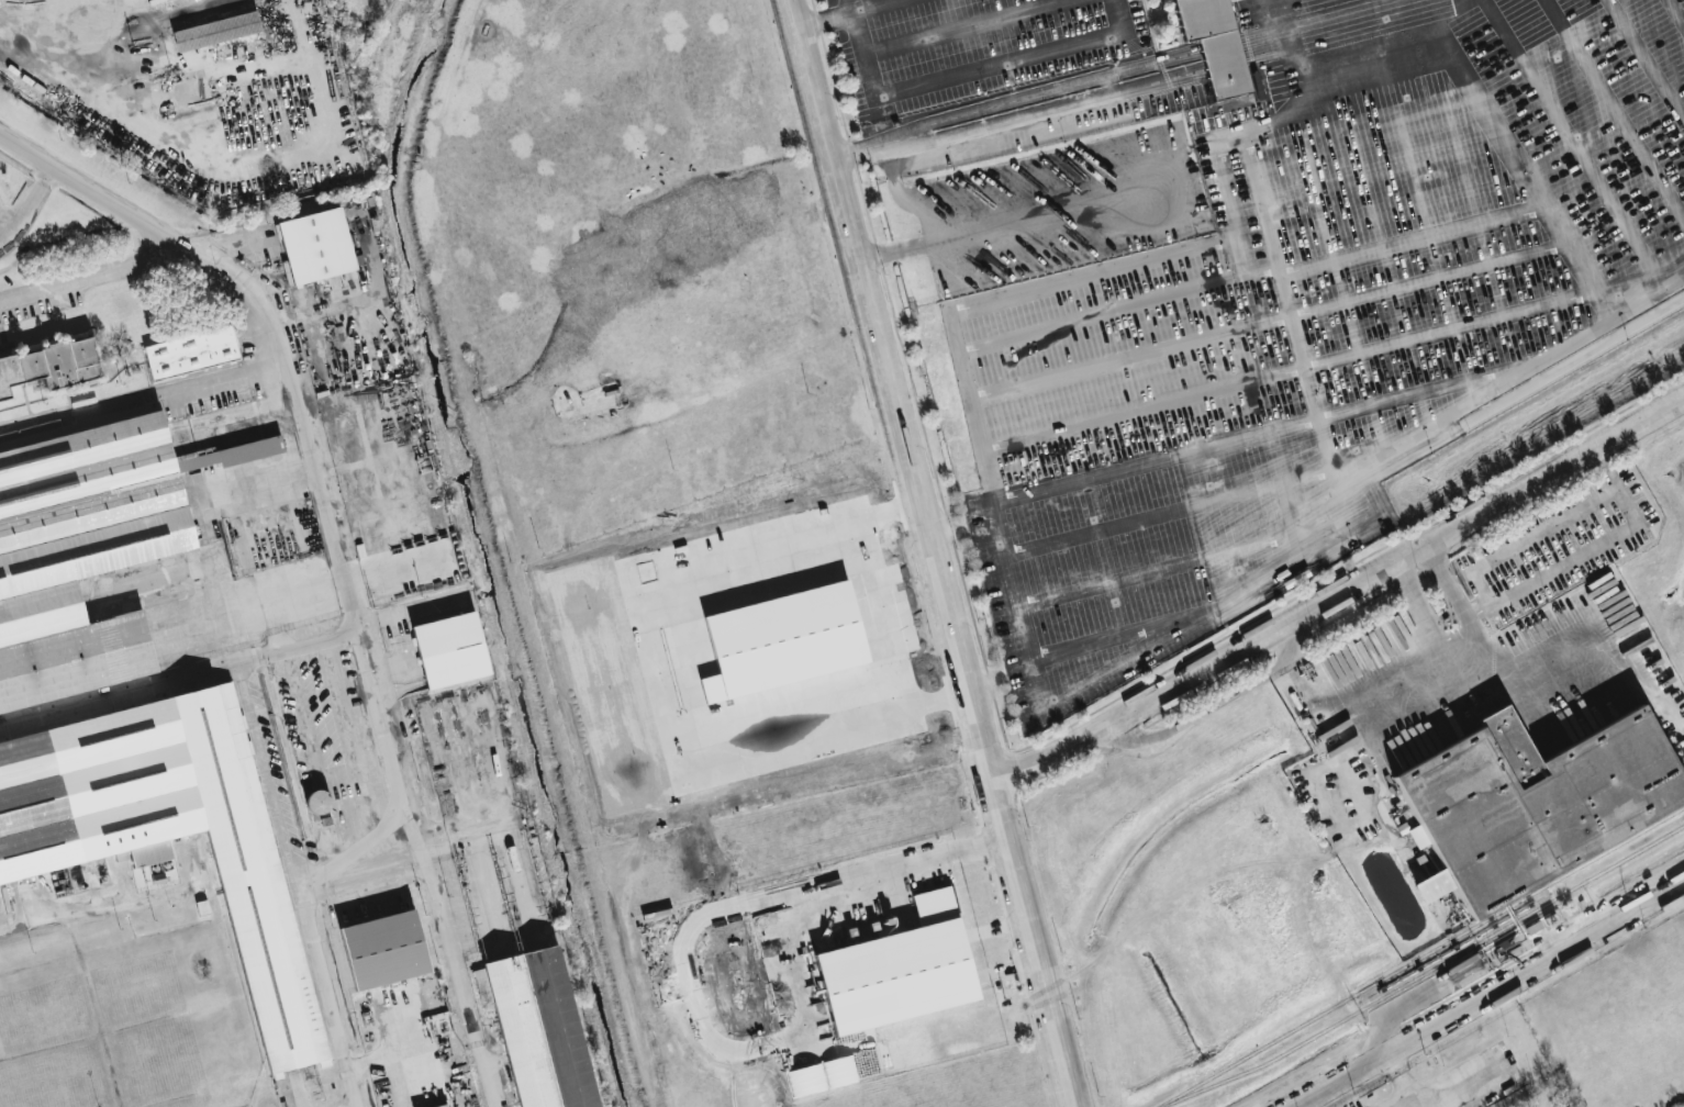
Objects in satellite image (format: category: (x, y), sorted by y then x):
road: (856, 7)
road: (883, 7)
road: (121, 13)
road: (1452, 13)
road: (827, 21)
road: (134, 22)
road: (964, 26)
building: (216, 31)
road: (22, 38)
building: (1216, 43)
road: (974, 77)
road: (241, 157)
road: (892, 171)
road: (1544, 198)
road: (26, 208)
road: (1014, 220)
road: (154, 246)
building: (316, 246)
road: (79, 277)
building: (191, 353)
road: (1302, 357)
building: (51, 365)
road: (1603, 466)
road: (999, 487)
road: (1610, 491)
road: (1626, 506)
building: (82, 548)
road: (934, 552)
road: (1412, 558)
road: (1446, 589)
road: (1339, 591)
road: (1418, 603)
road: (1583, 631)
road: (1452, 634)
building: (450, 650)
road: (233, 672)
road: (258, 696)
road: (1335, 700)
road: (1372, 730)
road: (392, 735)
building: (319, 802)
building: (1534, 804)
road: (369, 874)
road: (741, 907)
road: (103, 909)
building: (386, 952)
railway: (1420, 957)
building: (900, 970)
railway: (1426, 971)
building: (276, 977)
road: (1492, 996)
building: (540, 1030)
road: (1402, 1076)
road: (1476, 1088)
road: (1415, 1098)
building: (442, 1105)

